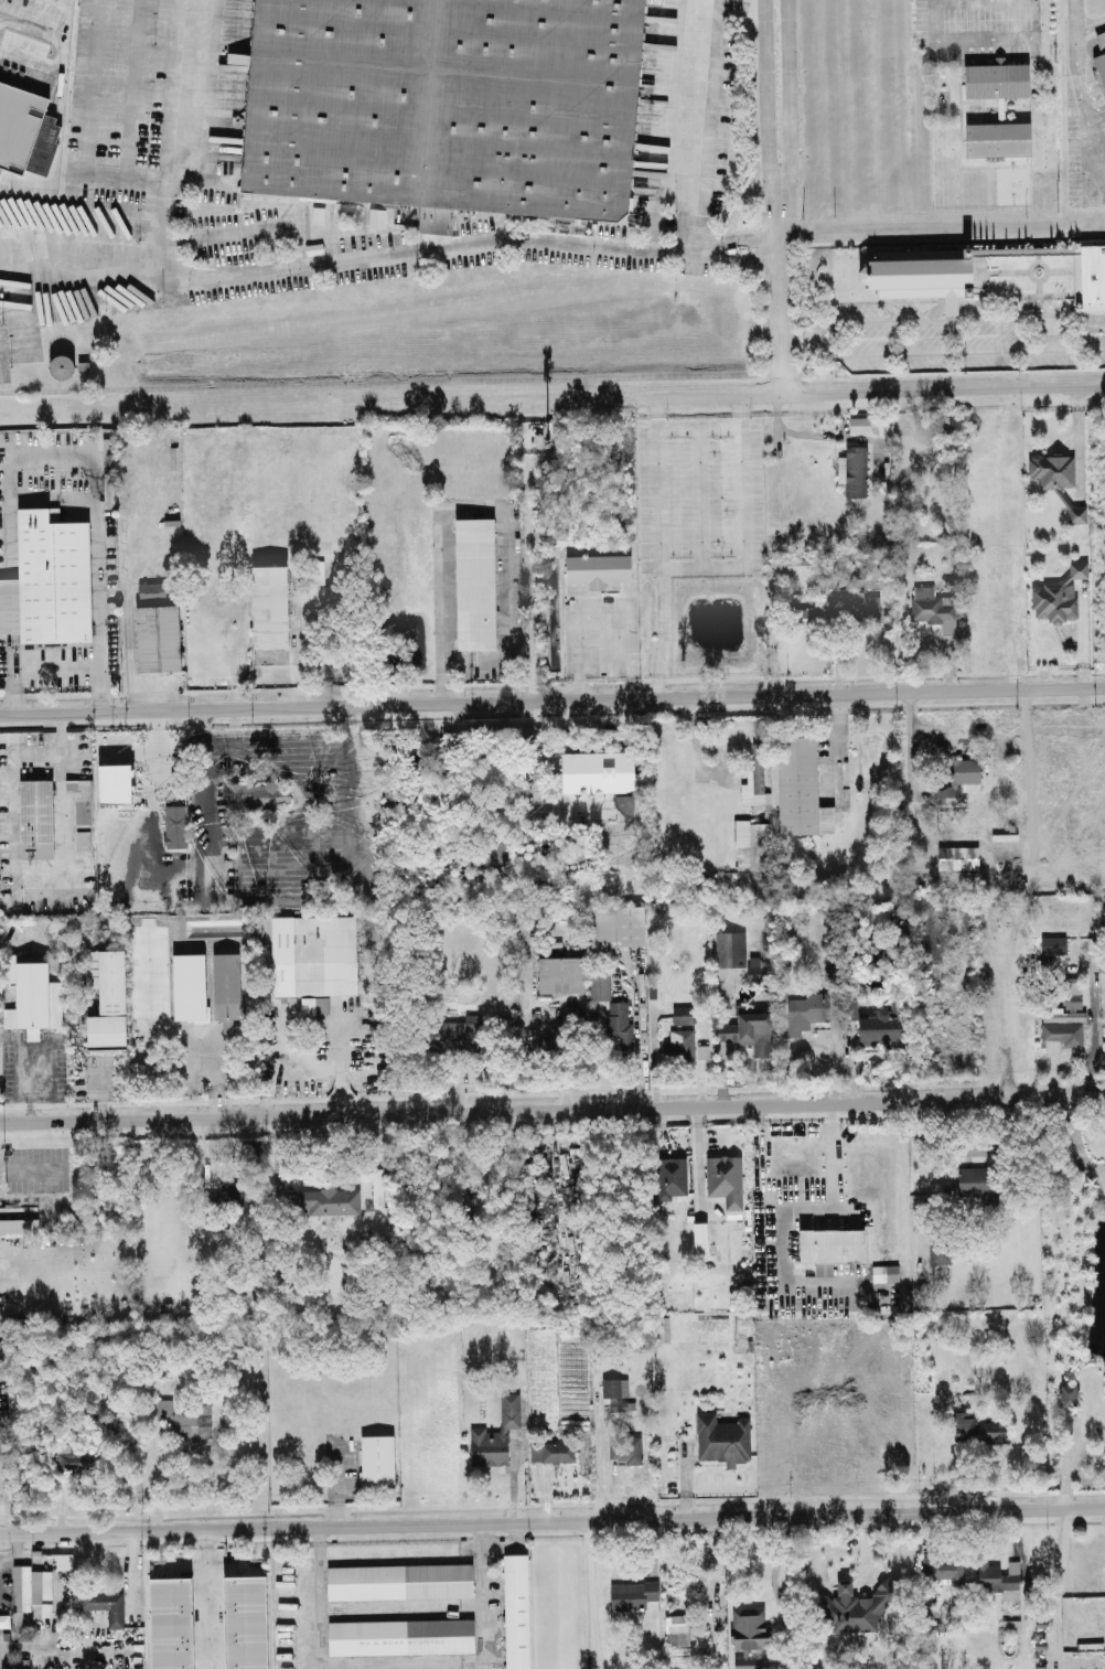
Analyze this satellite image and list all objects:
road: (728, 8)
road: (30, 23)
building: (1104, 30)
road: (29, 60)
building: (1101, 65)
road: (58, 68)
building: (996, 78)
road: (131, 90)
road: (1081, 93)
building: (441, 98)
road: (760, 104)
road: (786, 104)
road: (691, 125)
road: (87, 126)
road: (171, 128)
building: (25, 131)
building: (997, 138)
building: (375, 216)
road: (234, 231)
road: (740, 234)
road: (743, 255)
road: (354, 258)
building: (1088, 277)
building: (919, 278)
road: (776, 287)
road: (934, 318)
road: (940, 353)
road: (926, 394)
road: (759, 397)
road: (698, 398)
building: (858, 422)
road: (797, 431)
road: (1077, 438)
road: (92, 461)
building: (852, 469)
building: (1050, 469)
building: (1075, 513)
road: (742, 523)
road: (503, 528)
road: (661, 548)
building: (801, 563)
building: (597, 568)
building: (856, 569)
building: (314, 570)
building: (47, 579)
road: (530, 580)
building: (474, 582)
building: (151, 592)
building: (1056, 595)
building: (268, 606)
building: (860, 607)
building: (930, 610)
building: (805, 617)
building: (157, 638)
road: (297, 645)
road: (56, 670)
road: (552, 697)
road: (589, 721)
road: (835, 743)
road: (904, 745)
road: (696, 746)
road: (129, 750)
road: (158, 750)
building: (597, 770)
building: (754, 778)
road: (534, 779)
building: (955, 779)
building: (114, 782)
building: (800, 788)
building: (256, 795)
building: (623, 803)
building: (35, 817)
building: (82, 823)
building: (175, 825)
building: (751, 845)
building: (497, 852)
building: (954, 857)
road: (37, 871)
building: (613, 928)
building: (1052, 943)
building: (729, 948)
building: (313, 954)
building: (757, 967)
building: (559, 973)
building: (599, 983)
building: (225, 987)
building: (32, 997)
building: (1071, 998)
building: (108, 1003)
building: (191, 1010)
building: (806, 1010)
building: (682, 1013)
road: (1093, 1018)
building: (619, 1024)
building: (879, 1027)
building: (455, 1033)
building: (748, 1034)
road: (639, 1044)
building: (678, 1044)
building: (701, 1049)
road: (340, 1058)
road: (1055, 1059)
road: (136, 1062)
road: (214, 1076)
road: (661, 1105)
road: (108, 1117)
road: (707, 1152)
building: (673, 1176)
building: (725, 1178)
building: (973, 1179)
road: (45, 1181)
building: (376, 1186)
building: (326, 1200)
road: (1, 1202)
road: (784, 1206)
building: (18, 1220)
building: (829, 1247)
building: (938, 1252)
building: (884, 1272)
building: (1, 1349)
building: (614, 1386)
building: (1066, 1394)
building: (185, 1419)
building: (978, 1429)
building: (495, 1433)
building: (721, 1437)
building: (625, 1448)
building: (551, 1449)
road: (596, 1459)
building: (376, 1461)
road: (335, 1497)
road: (1055, 1508)
road: (503, 1520)
road: (1021, 1560)
road: (775, 1564)
building: (944, 1569)
building: (998, 1577)
building: (399, 1580)
road: (318, 1587)
road: (591, 1593)
building: (632, 1593)
road: (481, 1594)
building: (30, 1595)
road: (206, 1598)
building: (105, 1604)
building: (861, 1604)
building: (515, 1611)
building: (244, 1622)
building: (170, 1623)
building: (676, 1628)
building: (400, 1635)
building: (747, 1635)

